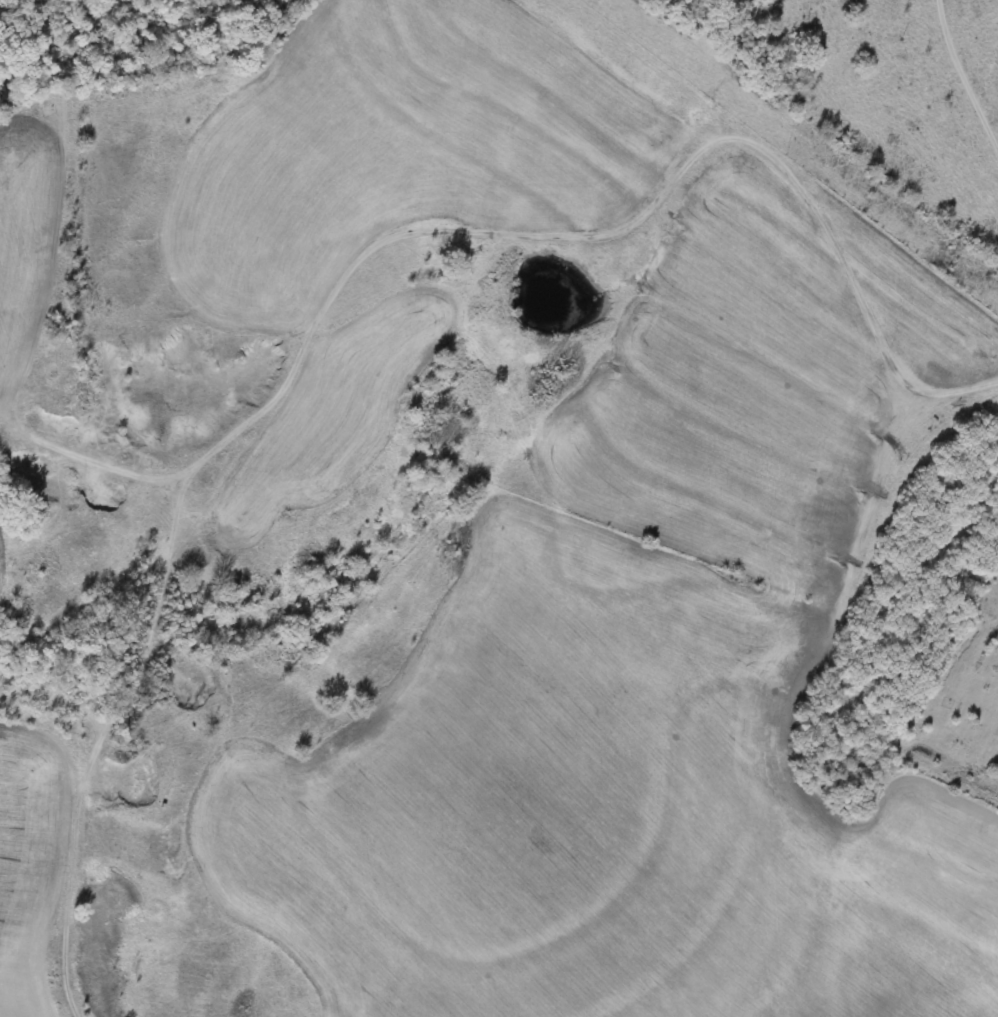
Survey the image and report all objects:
road: (952, 81)

